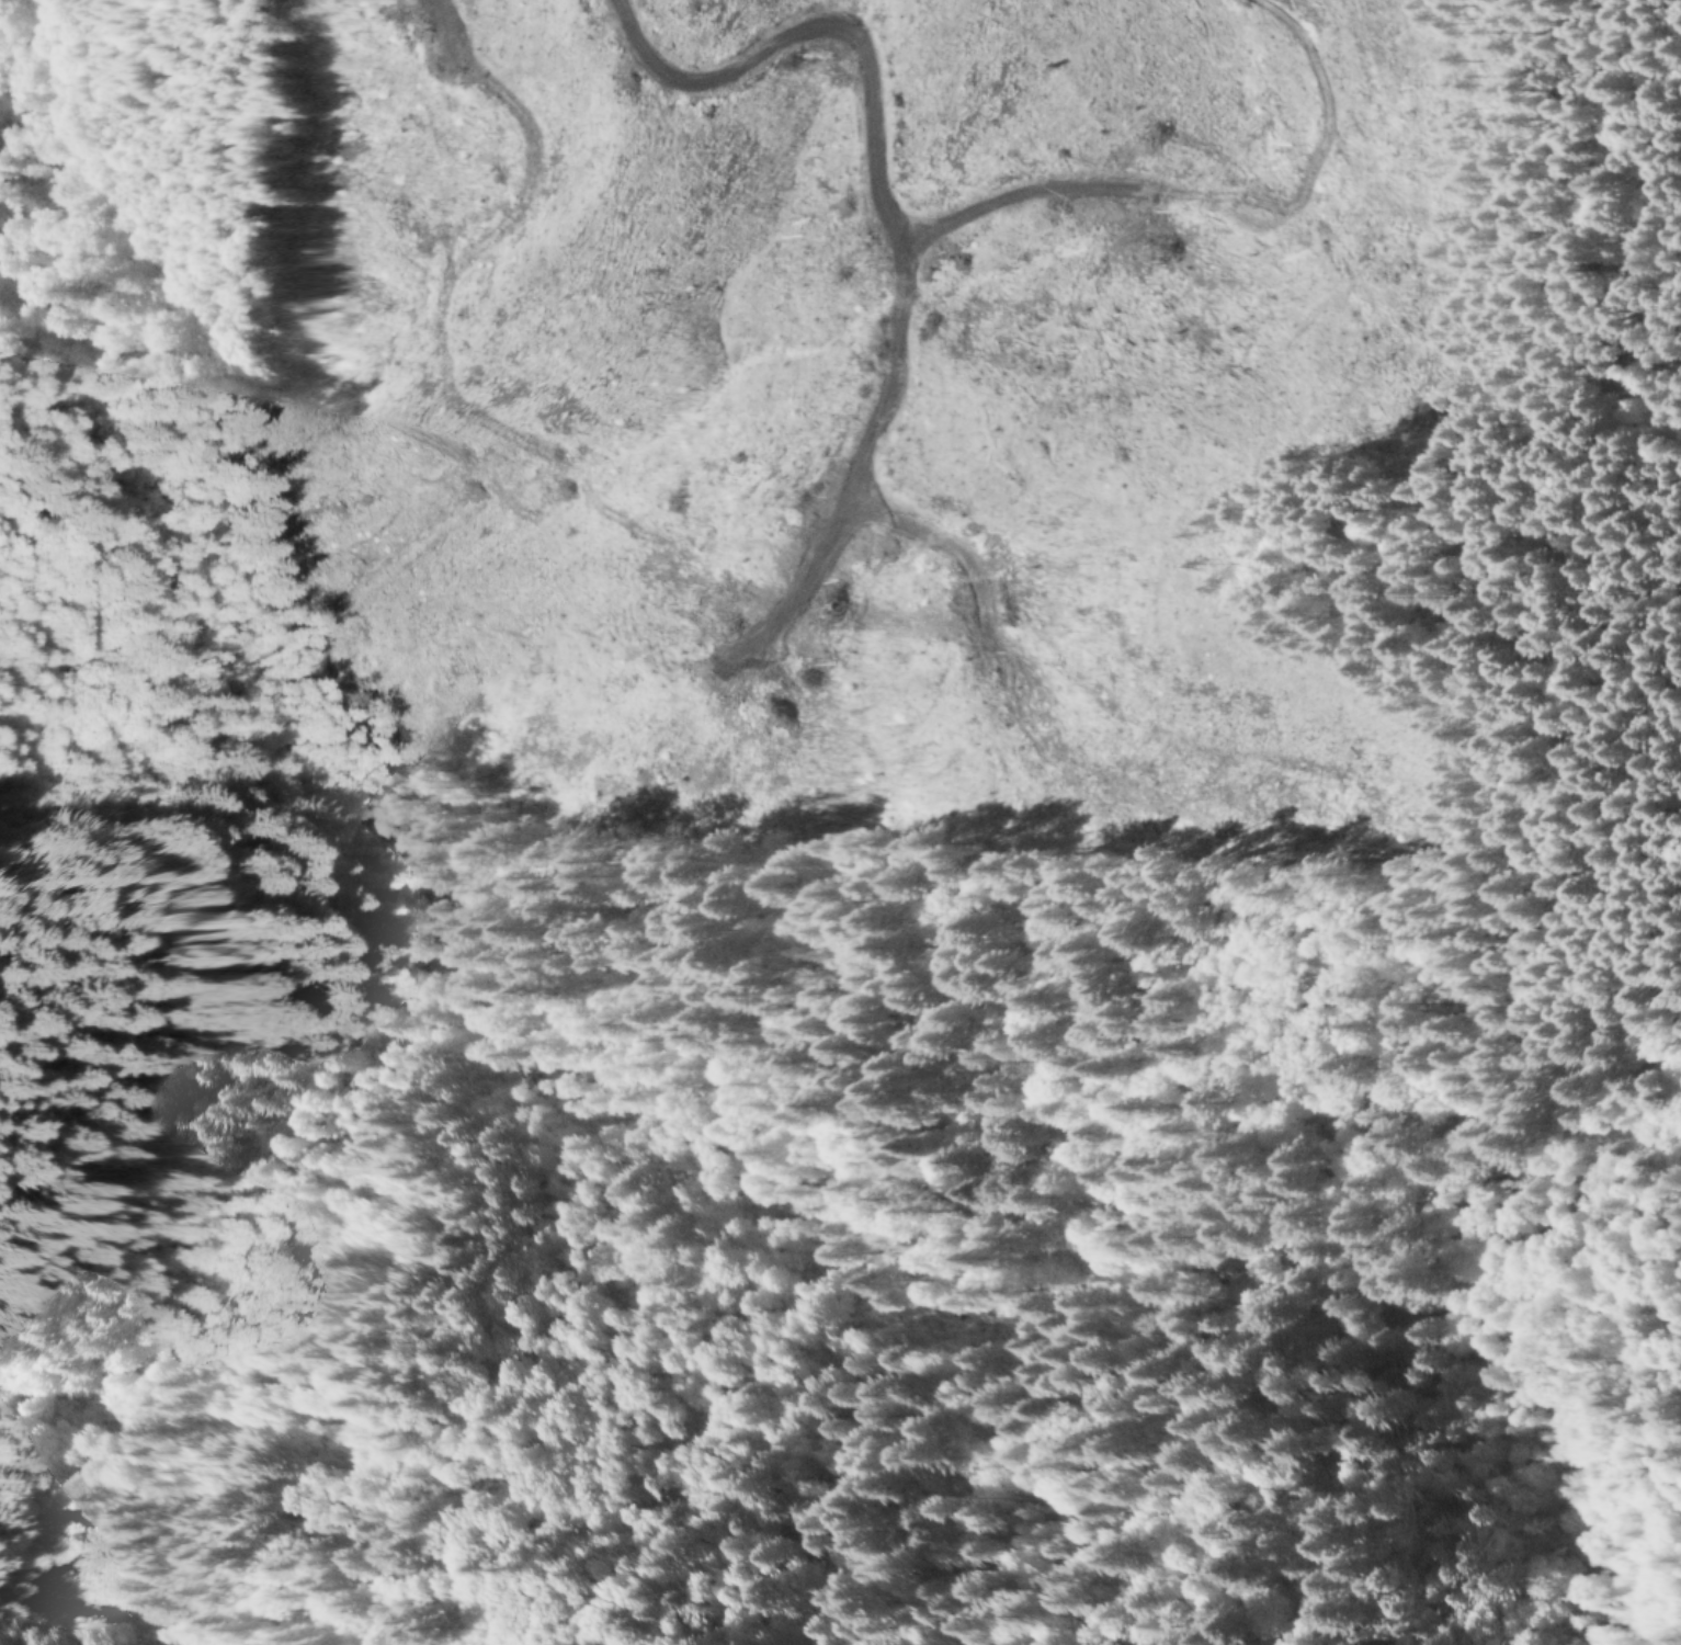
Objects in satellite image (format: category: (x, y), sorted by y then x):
road: (1623, 31)
road: (1634, 112)

